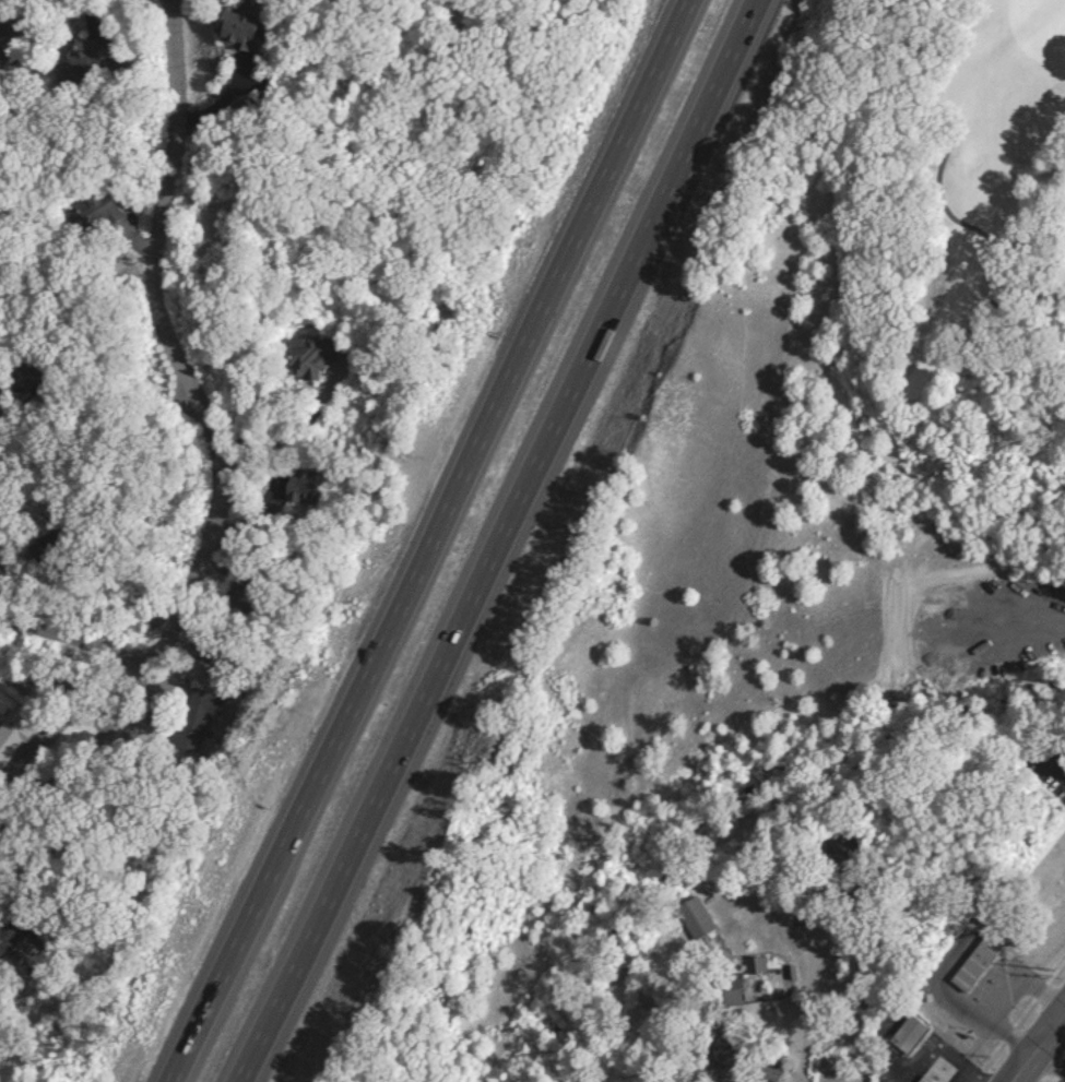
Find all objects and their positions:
building: (236, 28)
park: (965, 224)
road: (987, 241)
building: (308, 361)
road: (204, 447)
building: (288, 486)
road: (15, 500)
road: (495, 540)
road: (427, 542)
building: (228, 591)
road: (64, 657)
building: (196, 710)
building: (689, 917)
building: (971, 962)
building: (749, 964)
road: (801, 995)
building: (725, 996)
building: (902, 1033)
road: (1036, 1044)
road: (937, 1054)
road: (1049, 1058)
building: (919, 1079)

